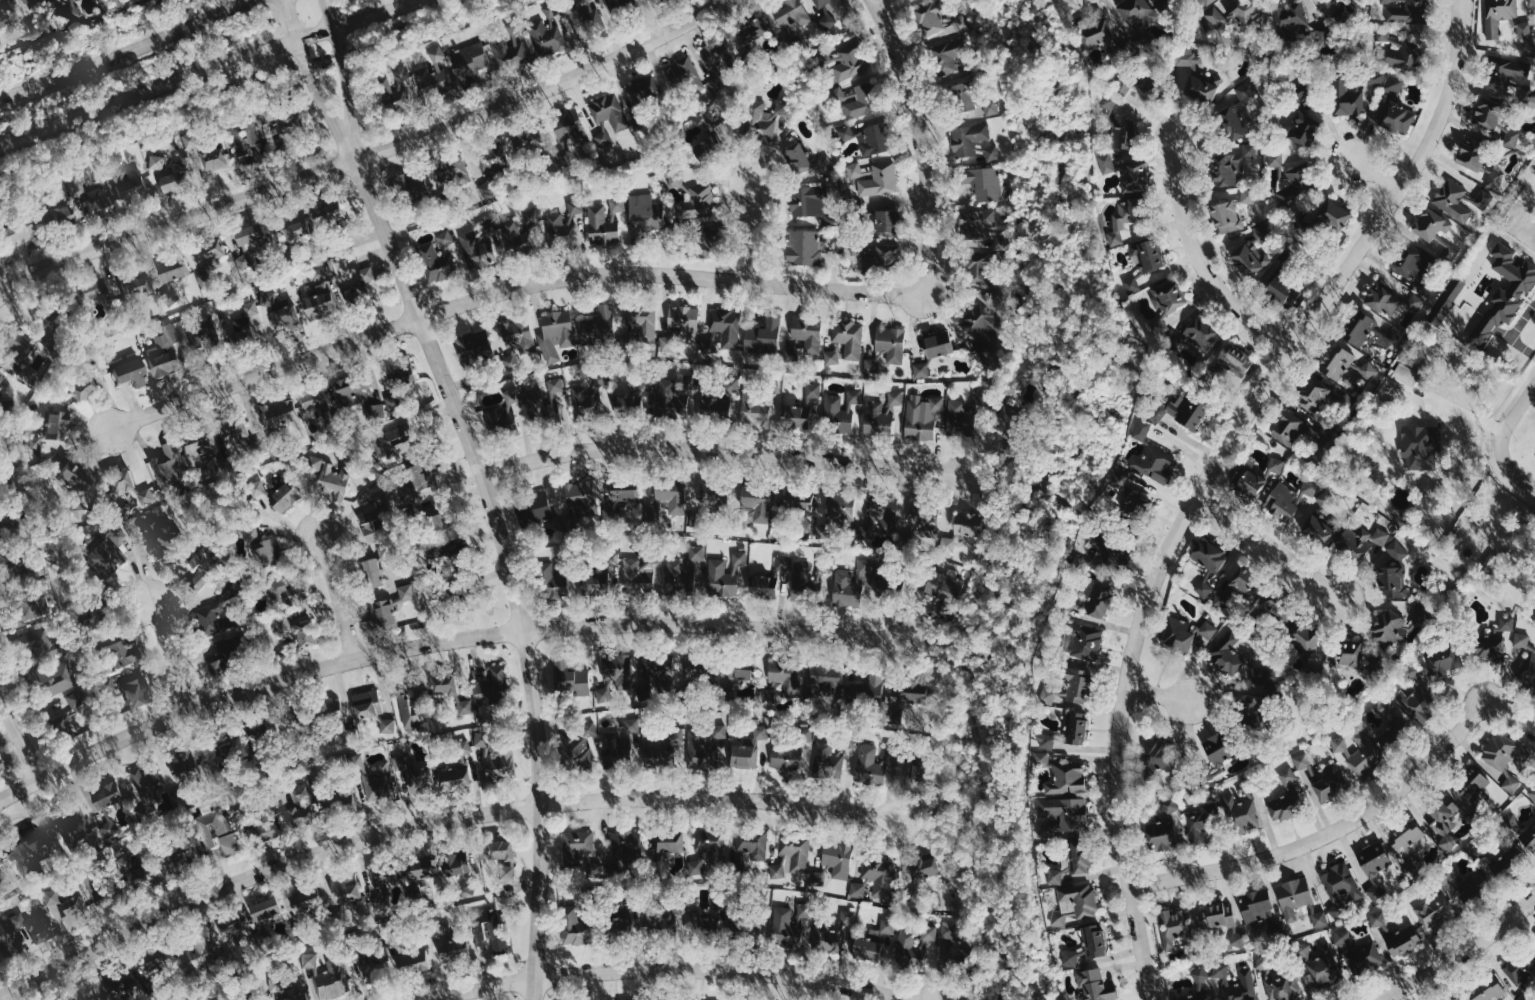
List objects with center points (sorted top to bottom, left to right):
building: (1385, 0)
building: (1208, 2)
building: (111, 3)
building: (1532, 5)
building: (830, 10)
building: (1404, 11)
building: (11, 12)
building: (790, 13)
building: (1234, 13)
building: (1347, 13)
building: (1498, 15)
building: (1137, 16)
building: (1292, 17)
building: (751, 30)
building: (1525, 32)
building: (1098, 34)
building: (1320, 35)
building: (943, 36)
building: (548, 37)
building: (1397, 50)
road: (126, 53)
building: (717, 53)
building: (511, 54)
building: (470, 63)
building: (850, 64)
road: (207, 68)
building: (1510, 70)
building: (434, 74)
building: (1193, 74)
building: (684, 75)
building: (1375, 77)
road: (347, 78)
road: (313, 82)
building: (406, 83)
building: (1396, 83)
road: (240, 84)
building: (643, 88)
building: (1135, 89)
building: (837, 95)
building: (963, 96)
building: (1346, 96)
building: (1109, 101)
building: (862, 102)
building: (991, 107)
building: (609, 111)
building: (1485, 112)
building: (1398, 117)
building: (763, 118)
building: (569, 127)
building: (1303, 128)
building: (293, 129)
building: (1123, 131)
building: (846, 132)
building: (1511, 136)
building: (603, 139)
building: (969, 139)
building: (872, 140)
road: (920, 142)
building: (254, 145)
building: (705, 146)
building: (1470, 152)
building: (993, 153)
road: (365, 154)
building: (221, 155)
building: (1275, 158)
building: (490, 159)
building: (799, 159)
building: (161, 161)
building: (1107, 162)
building: (1232, 164)
road: (1370, 169)
building: (456, 174)
building: (1494, 176)
building: (1135, 177)
building: (161, 179)
building: (182, 180)
building: (881, 180)
building: (1295, 180)
building: (984, 182)
building: (416, 183)
building: (78, 187)
building: (487, 188)
building: (692, 193)
building: (1248, 195)
building: (1484, 198)
building: (1453, 200)
building: (805, 201)
building: (104, 203)
building: (619, 204)
building: (576, 207)
building: (1129, 212)
building: (645, 213)
building: (1334, 214)
building: (333, 215)
building: (533, 215)
building: (1226, 215)
building: (886, 221)
building: (977, 221)
building: (1431, 224)
building: (300, 226)
building: (602, 226)
building: (27, 230)
road: (755, 230)
building: (562, 231)
building: (256, 233)
building: (449, 237)
building: (517, 237)
building: (1115, 237)
building: (804, 247)
building: (223, 250)
building: (886, 250)
building: (479, 251)
building: (1450, 251)
building: (1147, 253)
building: (248, 260)
building: (1249, 260)
building: (1410, 260)
road: (1199, 261)
building: (440, 263)
building: (977, 267)
building: (187, 270)
building: (142, 281)
building: (1132, 284)
building: (364, 285)
road: (508, 288)
building: (1277, 288)
building: (100, 290)
building: (1506, 290)
building: (1168, 296)
building: (1449, 299)
building: (1381, 300)
building: (325, 302)
building: (292, 319)
building: (978, 322)
building: (1161, 323)
building: (602, 325)
building: (680, 326)
building: (641, 328)
building: (724, 329)
building: (1360, 329)
building: (524, 333)
building: (561, 333)
building: (1200, 333)
building: (202, 334)
building: (244, 335)
building: (764, 336)
building: (850, 337)
building: (806, 338)
building: (1175, 340)
building: (891, 343)
building: (938, 344)
building: (478, 348)
building: (27, 349)
building: (171, 352)
building: (1234, 356)
building: (832, 357)
building: (1339, 363)
building: (872, 365)
building: (0, 368)
building: (921, 369)
building: (136, 372)
building: (1404, 376)
building: (411, 377)
building: (3, 382)
building: (559, 384)
building: (774, 385)
building: (88, 388)
building: (363, 389)
building: (1313, 394)
building: (630, 397)
building: (722, 397)
building: (896, 397)
building: (589, 399)
building: (325, 402)
building: (397, 402)
building: (546, 404)
building: (801, 408)
building: (754, 409)
building: (842, 409)
building: (1178, 410)
building: (379, 411)
building: (958, 413)
road: (1515, 415)
building: (922, 416)
building: (506, 418)
building: (877, 418)
building: (61, 426)
building: (1286, 426)
building: (1142, 430)
building: (410, 437)
building: (205, 444)
road: (723, 451)
building: (1153, 462)
building: (175, 466)
road: (1512, 470)
road: (1005, 474)
road: (1209, 476)
building: (338, 477)
building: (430, 477)
building: (1118, 477)
building: (82, 478)
building: (1249, 482)
building: (633, 488)
building: (138, 490)
building: (288, 493)
building: (677, 495)
building: (715, 497)
building: (755, 499)
building: (584, 500)
building: (1280, 500)
building: (797, 502)
road: (1038, 504)
building: (1135, 505)
building: (839, 507)
building: (540, 508)
building: (612, 516)
building: (880, 522)
building: (380, 523)
building: (924, 525)
building: (1320, 529)
building: (455, 530)
building: (960, 530)
building: (166, 534)
building: (1360, 541)
road: (1268, 546)
building: (117, 547)
building: (274, 549)
building: (1398, 550)
building: (390, 551)
building: (696, 552)
building: (1112, 552)
building: (652, 554)
building: (1207, 555)
building: (612, 556)
building: (740, 556)
building: (567, 559)
building: (213, 561)
building: (783, 562)
building: (379, 564)
building: (825, 565)
building: (866, 565)
road: (506, 566)
building: (637, 576)
building: (679, 578)
building: (721, 579)
building: (553, 581)
building: (803, 581)
building: (1391, 581)
building: (596, 583)
building: (764, 586)
building: (1204, 586)
building: (889, 588)
building: (847, 589)
building: (411, 591)
building: (945, 591)
road: (336, 594)
building: (294, 596)
building: (1099, 601)
building: (36, 607)
building: (391, 610)
building: (220, 619)
building: (1390, 628)
building: (1208, 629)
building: (1176, 633)
building: (313, 634)
building: (1301, 637)
building: (1492, 640)
building: (1522, 640)
road: (940, 641)
building: (1082, 641)
road: (438, 642)
building: (233, 652)
building: (1349, 653)
building: (126, 654)
road: (171, 655)
building: (1231, 656)
building: (1445, 658)
building: (743, 665)
building: (618, 668)
building: (660, 668)
building: (1529, 672)
building: (1262, 675)
building: (786, 677)
building: (59, 678)
building: (569, 678)
building: (827, 678)
building: (1077, 683)
building: (492, 687)
building: (140, 689)
building: (455, 691)
building: (914, 691)
building: (867, 692)
road: (1155, 694)
building: (1048, 695)
building: (767, 696)
building: (808, 698)
building: (82, 699)
building: (1418, 701)
building: (1391, 709)
building: (415, 711)
building: (1250, 713)
building: (348, 715)
building: (1076, 727)
building: (760, 728)
building: (719, 731)
building: (807, 732)
road: (20, 736)
building: (749, 741)
building: (1046, 741)
building: (490, 742)
building: (701, 749)
building: (574, 751)
building: (615, 751)
building: (1499, 751)
building: (1361, 752)
building: (785, 753)
building: (1158, 753)
building: (1216, 755)
building: (744, 756)
building: (660, 758)
building: (1042, 759)
building: (827, 761)
building: (1302, 761)
building: (3, 764)
building: (872, 764)
building: (190, 765)
building: (503, 766)
building: (915, 773)
building: (461, 777)
building: (1066, 778)
building: (425, 780)
building: (1329, 781)
building: (385, 783)
building: (1511, 783)
building: (151, 785)
building: (1472, 786)
building: (1532, 793)
building: (183, 797)
building: (1283, 799)
building: (1170, 804)
building: (114, 806)
building: (307, 811)
building: (1065, 812)
building: (1238, 816)
road: (1352, 818)
building: (1441, 819)
road: (432, 822)
building: (1197, 826)
building: (228, 830)
road: (939, 830)
building: (269, 831)
building: (78, 834)
building: (1159, 835)
building: (1529, 837)
building: (41, 838)
building: (627, 841)
building: (669, 841)
building: (578, 842)
building: (711, 844)
building: (1408, 844)
building: (751, 846)
building: (509, 852)
building: (791, 857)
building: (838, 858)
building: (1374, 859)
building: (1070, 862)
building: (1502, 864)
building: (696, 867)
building: (921, 868)
building: (464, 869)
building: (615, 870)
building: (425, 875)
building: (880, 875)
building: (386, 877)
building: (817, 878)
building: (1461, 878)
building: (1342, 882)
building: (353, 888)
building: (858, 889)
building: (1293, 897)
building: (313, 900)
building: (1074, 903)
building: (83, 909)
building: (274, 909)
building: (1256, 909)
building: (1432, 912)
building: (1216, 915)
building: (1378, 919)
building: (22, 920)
building: (571, 925)
building: (621, 925)
building: (306, 926)
building: (888, 926)
building: (1173, 926)
building: (788, 927)
building: (948, 930)
building: (235, 931)
building: (496, 931)
building: (46, 932)
building: (833, 933)
building: (930, 933)
building: (876, 935)
building: (1238, 938)
building: (1093, 940)
building: (1402, 941)
building: (909, 947)
building: (458, 948)
building: (866, 948)
building: (212, 951)
building: (1358, 952)
road: (1460, 954)
building: (1322, 965)
road: (659, 967)
building: (1522, 968)
building: (1201, 974)
building: (331, 978)
building: (1237, 983)
building: (1095, 986)
building: (1284, 987)
building: (1486, 989)
building: (1198, 996)

